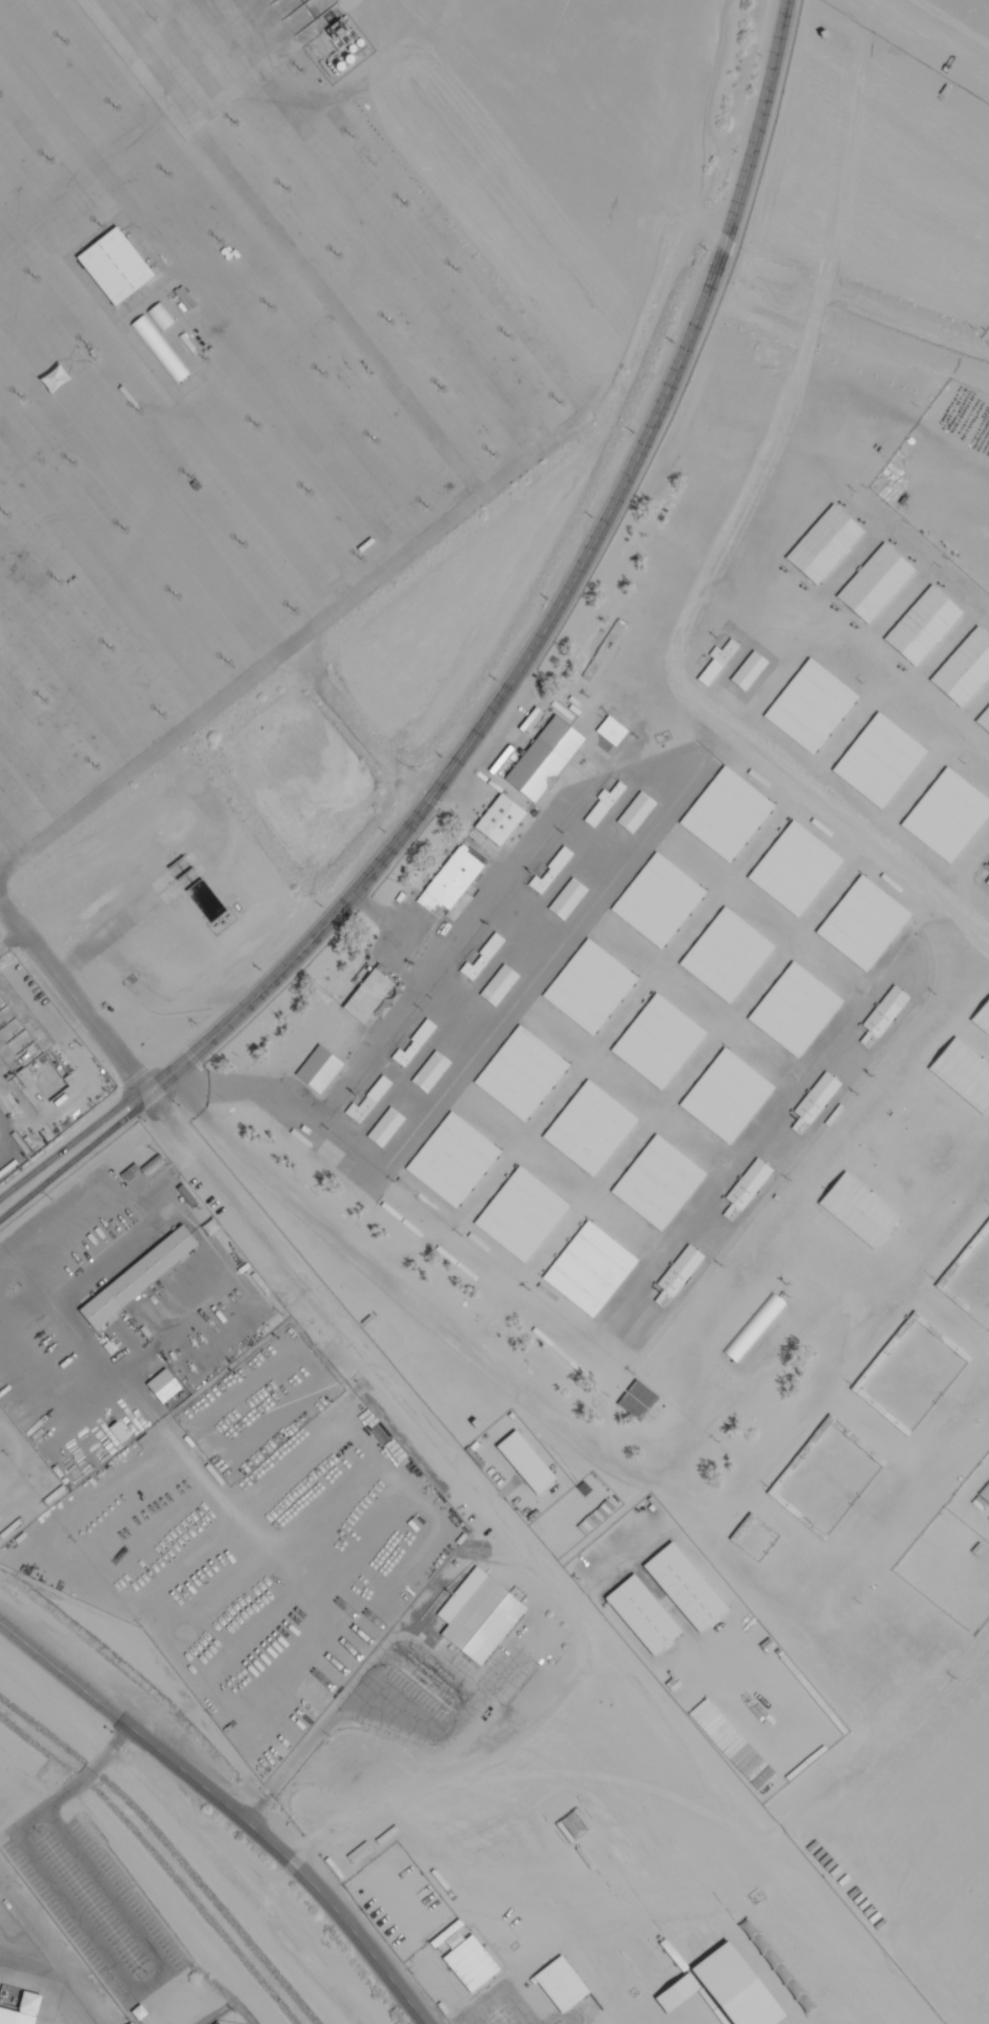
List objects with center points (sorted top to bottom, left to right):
road: (948, 27)
road: (124, 162)
road: (368, 222)
building: (116, 268)
building: (160, 350)
building: (955, 457)
building: (972, 504)
building: (986, 543)
road: (559, 605)
building: (923, 626)
road: (270, 659)
building: (717, 663)
building: (965, 669)
building: (750, 671)
building: (812, 707)
building: (984, 720)
building: (546, 758)
building: (880, 761)
building: (604, 805)
building: (637, 812)
building: (727, 814)
building: (948, 816)
building: (501, 820)
building: (988, 867)
building: (796, 869)
building: (552, 870)
building: (451, 881)
building: (987, 882)
building: (568, 899)
building: (658, 900)
building: (864, 924)
building: (727, 955)
building: (483, 956)
building: (500, 985)
building: (590, 987)
building: (368, 996)
road: (70, 1003)
building: (796, 1010)
building: (883, 1015)
building: (659, 1042)
building: (415, 1043)
building: (319, 1069)
building: (431, 1072)
building: (522, 1074)
building: (901, 1083)
building: (727, 1097)
building: (369, 1100)
building: (815, 1102)
building: (931, 1106)
building: (386, 1127)
building: (591, 1128)
road: (68, 1145)
building: (335, 1158)
road: (73, 1160)
building: (453, 1160)
building: (834, 1168)
building: (659, 1183)
building: (747, 1188)
building: (863, 1193)
building: (522, 1215)
building: (590, 1269)
building: (678, 1275)
building: (139, 1277)
road: (420, 1312)
building: (754, 1327)
building: (164, 1386)
building: (638, 1400)
building: (200, 1424)
building: (120, 1433)
building: (527, 1463)
building: (790, 1470)
building: (571, 1513)
building: (687, 1588)
building: (644, 1615)
building: (480, 1616)
road: (69, 1788)
road: (223, 1812)
building: (542, 1869)
road: (231, 1883)
building: (388, 1906)
parking lot: (95, 1907)
building: (445, 1936)
building: (471, 1965)
road: (144, 1987)
building: (737, 1988)
building: (566, 1990)
building: (679, 1994)
building: (539, 2009)
building: (27, 2012)

